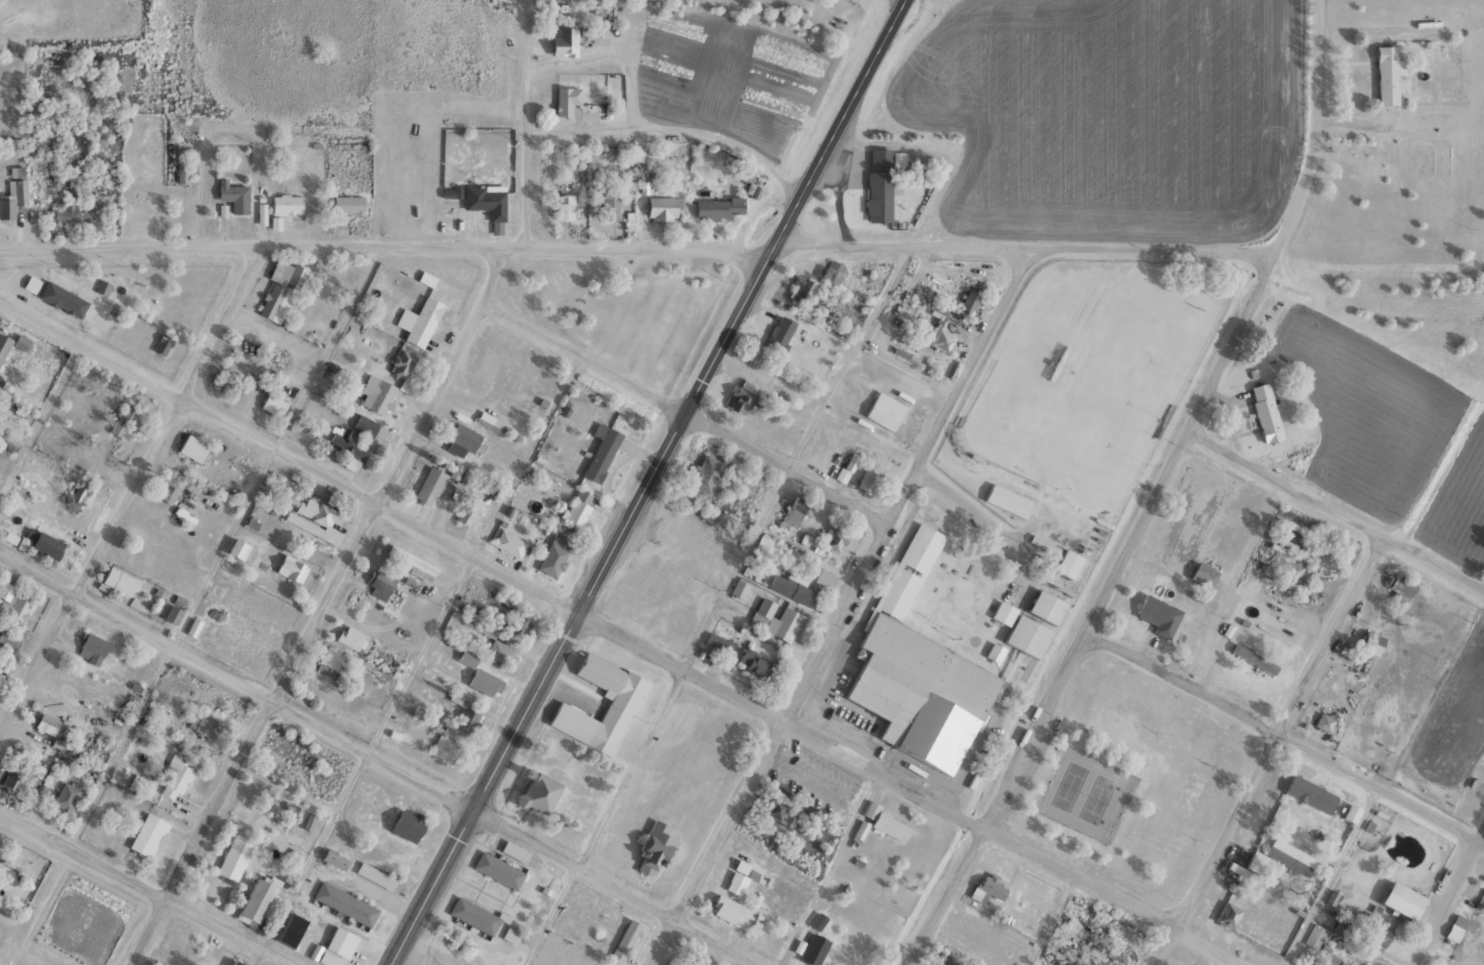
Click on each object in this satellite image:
building: (563, 40)
building: (1386, 74)
building: (573, 102)
road: (527, 122)
road: (1313, 132)
building: (184, 172)
building: (881, 181)
building: (450, 191)
building: (757, 191)
building: (233, 195)
building: (11, 198)
building: (486, 202)
building: (286, 203)
building: (348, 203)
building: (609, 205)
building: (564, 206)
building: (718, 206)
building: (662, 208)
road: (635, 243)
building: (831, 271)
building: (802, 289)
building: (280, 290)
building: (61, 298)
building: (969, 301)
building: (418, 318)
building: (939, 331)
building: (14, 343)
building: (162, 343)
building: (401, 362)
building: (1069, 367)
building: (228, 384)
park: (1102, 391)
building: (377, 393)
building: (741, 395)
building: (273, 404)
building: (1265, 411)
road: (687, 413)
building: (882, 414)
building: (121, 419)
building: (365, 424)
building: (461, 439)
building: (347, 447)
building: (192, 448)
building: (600, 451)
building: (847, 467)
building: (705, 473)
road: (645, 481)
building: (867, 481)
building: (429, 486)
building: (168, 493)
road: (132, 496)
building: (1008, 500)
building: (577, 507)
road: (1336, 508)
building: (468, 509)
building: (312, 515)
building: (790, 517)
building: (833, 539)
building: (40, 542)
building: (509, 543)
building: (1044, 544)
building: (240, 550)
building: (554, 556)
building: (412, 562)
building: (1067, 563)
building: (291, 568)
building: (1202, 575)
building: (117, 582)
building: (379, 583)
building: (1400, 584)
building: (792, 587)
building: (739, 588)
building: (14, 600)
road: (321, 606)
building: (1046, 606)
road: (843, 607)
building: (172, 613)
road: (1095, 614)
building: (1157, 614)
building: (776, 619)
building: (519, 624)
building: (1022, 630)
road: (616, 634)
building: (350, 636)
building: (8, 640)
building: (1371, 642)
building: (91, 648)
building: (501, 651)
building: (995, 651)
building: (331, 656)
building: (466, 658)
building: (1253, 658)
building: (753, 660)
building: (917, 670)
building: (482, 680)
building: (617, 709)
building: (1145, 717)
building: (465, 718)
building: (203, 721)
building: (1326, 721)
building: (47, 723)
road: (1285, 734)
building: (1382, 743)
building: (444, 747)
road: (1270, 749)
road: (378, 760)
building: (174, 777)
building: (12, 779)
building: (536, 790)
park: (1085, 792)
building: (1309, 792)
building: (64, 796)
building: (1351, 812)
building: (773, 814)
building: (885, 822)
building: (405, 823)
building: (147, 833)
building: (167, 844)
building: (655, 848)
building: (514, 850)
building: (233, 857)
building: (1282, 857)
building: (334, 858)
building: (498, 868)
building: (374, 874)
building: (735, 880)
building: (1483, 887)
building: (987, 888)
road: (139, 889)
building: (256, 897)
building: (1401, 899)
road: (1449, 901)
building: (344, 902)
building: (723, 907)
building: (473, 914)
building: (1227, 915)
building: (1471, 927)
building: (289, 928)
building: (1375, 934)
building: (624, 941)
building: (1316, 944)
building: (814, 949)
building: (325, 955)
building: (234, 962)

